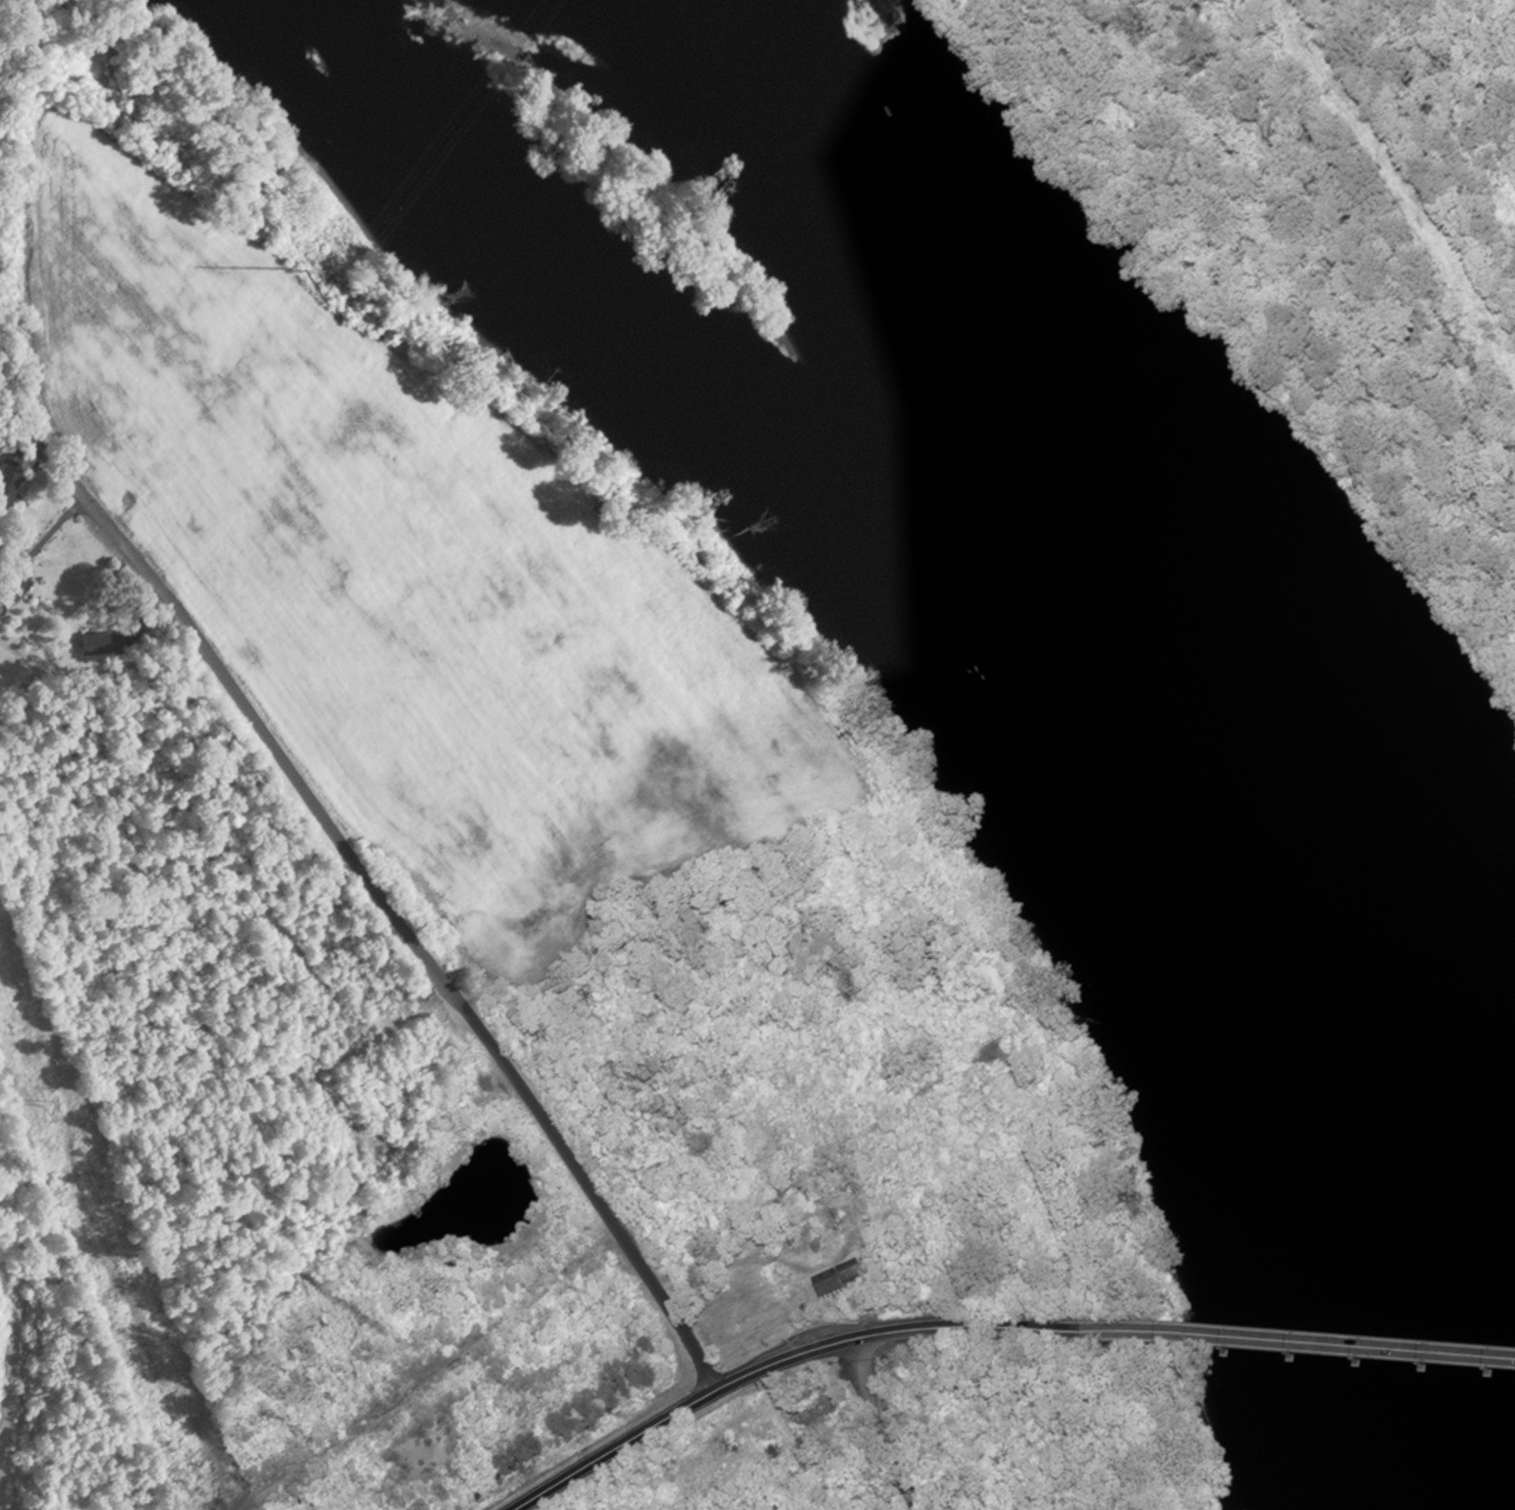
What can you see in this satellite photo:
road: (1346, 231)
power tower: (306, 270)
building: (13, 480)
road: (44, 536)
building: (1, 589)
building: (109, 641)
river: (1157, 720)
road: (370, 880)
power tower: (48, 1101)
river: (1476, 1242)
building: (845, 1280)
road: (1295, 1349)
road: (775, 1361)
building: (903, 1406)
building: (821, 1409)
road: (881, 1425)

